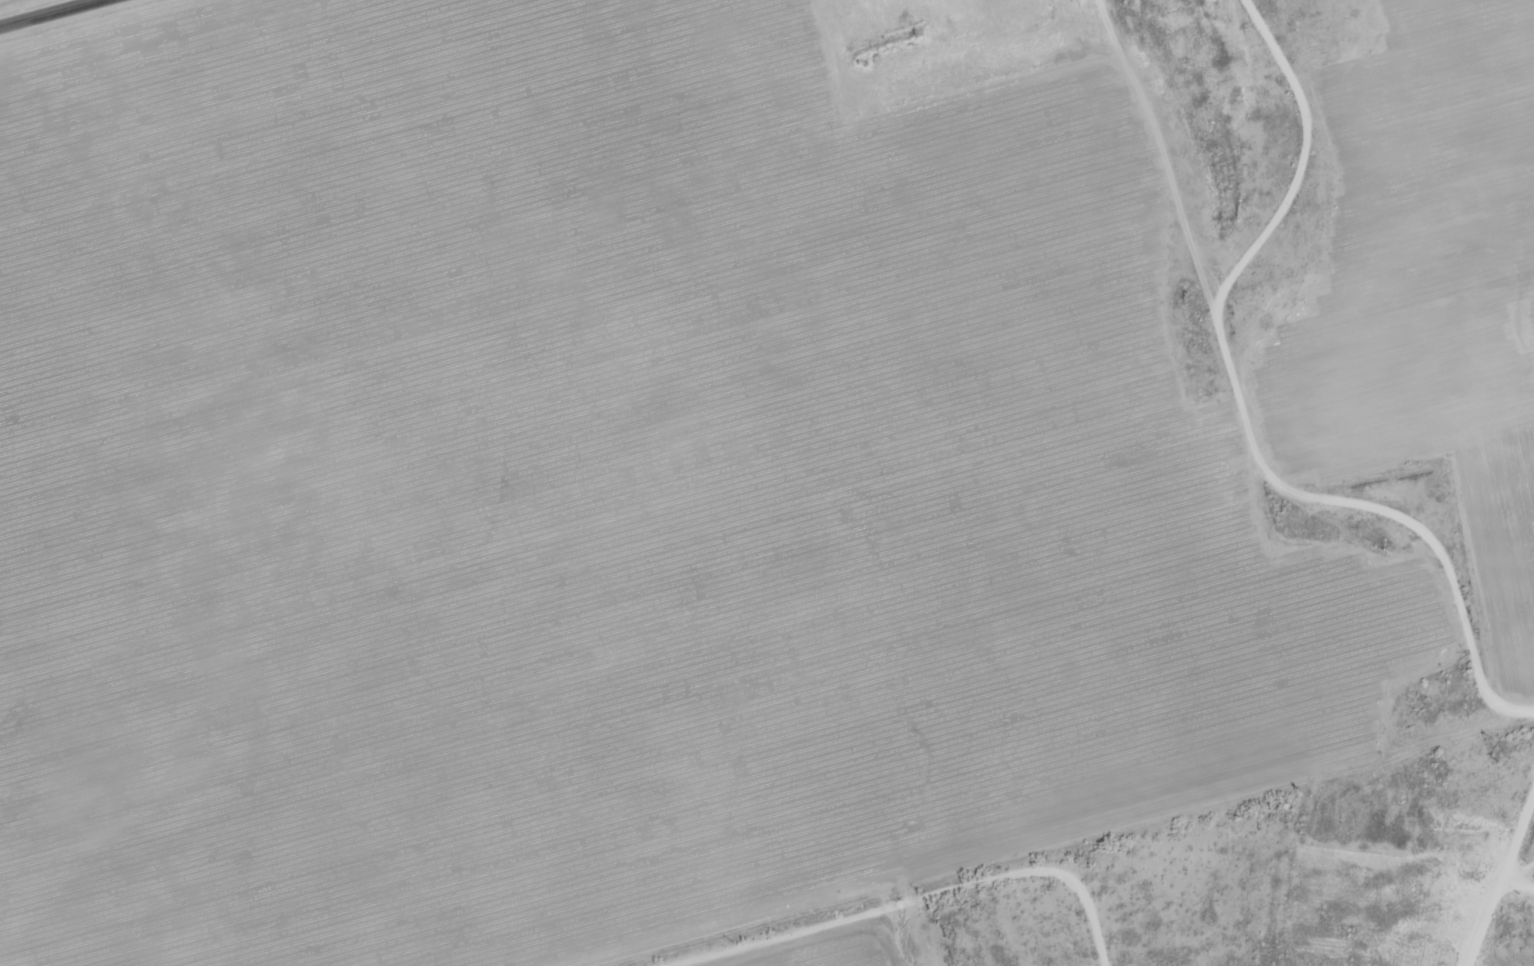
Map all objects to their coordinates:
road: (43, 11)
road: (1244, 418)
road: (1057, 707)
road: (1500, 883)

